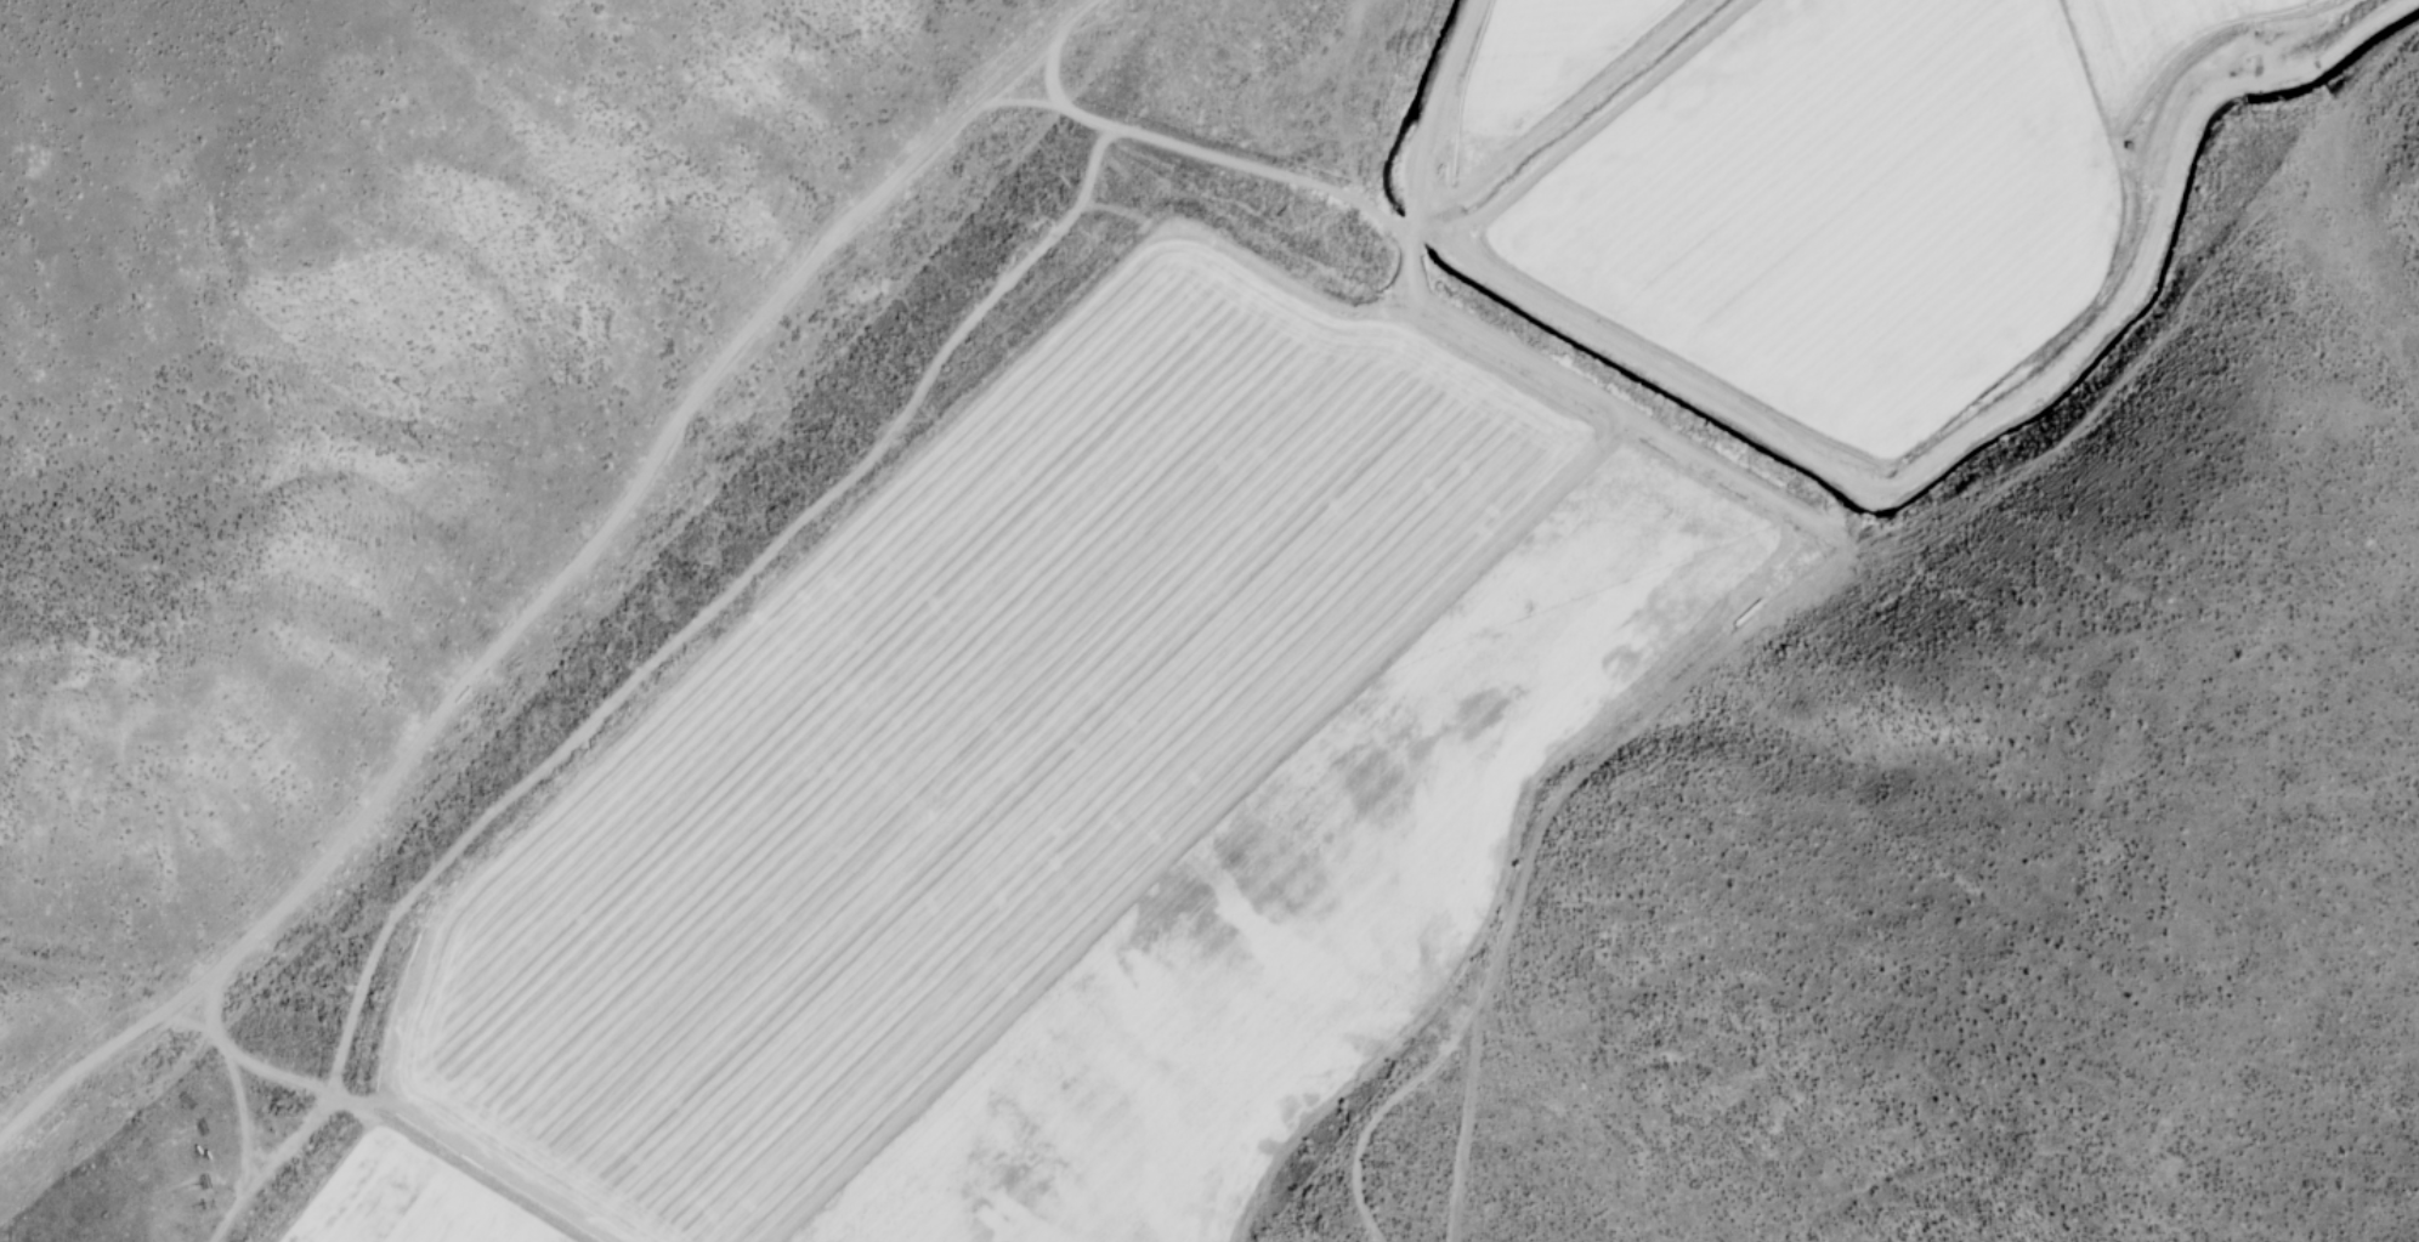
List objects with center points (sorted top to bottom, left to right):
road: (556, 580)

